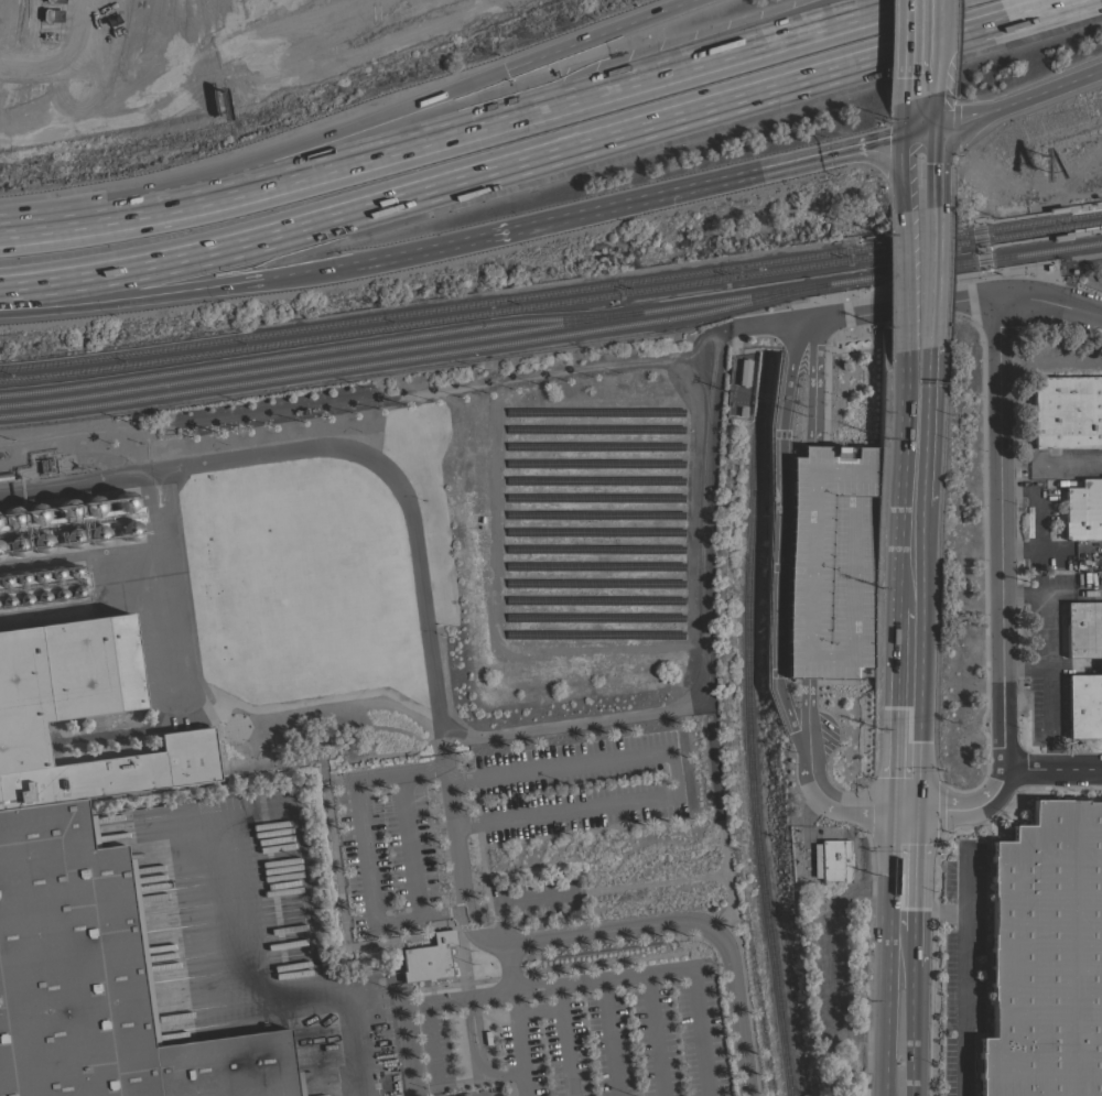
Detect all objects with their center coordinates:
road: (852, 12)
road: (936, 13)
road: (594, 34)
landfill: (179, 36)
road: (908, 50)
road: (934, 61)
road: (1017, 99)
road: (932, 111)
road: (907, 118)
road: (458, 132)
road: (919, 132)
road: (301, 145)
road: (541, 153)
road: (832, 153)
road: (932, 169)
road: (905, 173)
railway: (1067, 207)
road: (554, 219)
railway: (1070, 231)
railway: (962, 262)
road: (931, 278)
road: (903, 280)
road: (175, 293)
railway: (551, 293)
railway: (551, 300)
road: (1049, 300)
road: (904, 304)
railway: (411, 345)
railway: (310, 351)
railway: (412, 357)
road: (1049, 365)
building: (1067, 411)
road: (926, 438)
road: (1050, 467)
road: (899, 478)
building: (123, 500)
building: (90, 506)
building: (66, 509)
building: (1083, 510)
building: (34, 513)
building: (10, 518)
road: (1037, 520)
road: (998, 529)
building: (127, 530)
building: (95, 534)
building: (72, 538)
road: (777, 540)
road: (811, 541)
building: (39, 542)
building: (13, 545)
building: (0, 550)
parking lot: (833, 563)
road: (1073, 593)
road: (1045, 608)
building: (1083, 629)
road: (896, 631)
building: (968, 651)
road: (1024, 668)
road: (916, 670)
building: (1084, 705)
road: (1047, 716)
railway: (750, 724)
road: (894, 731)
road: (478, 742)
road: (1052, 766)
road: (673, 774)
road: (836, 803)
road: (972, 809)
road: (904, 810)
road: (360, 837)
road: (455, 850)
building: (830, 860)
road: (914, 870)
road: (856, 890)
building: (91, 892)
road: (938, 912)
road: (446, 915)
road: (672, 925)
road: (914, 949)
road: (889, 952)
building: (1046, 956)
building: (428, 958)
road: (962, 969)
road: (561, 986)
road: (830, 996)
road: (266, 997)
road: (700, 1032)
road: (914, 1032)
parking lot: (580, 1034)
road: (655, 1034)
road: (608, 1038)
road: (477, 1039)
road: (565, 1041)
road: (520, 1044)
road: (435, 1045)

